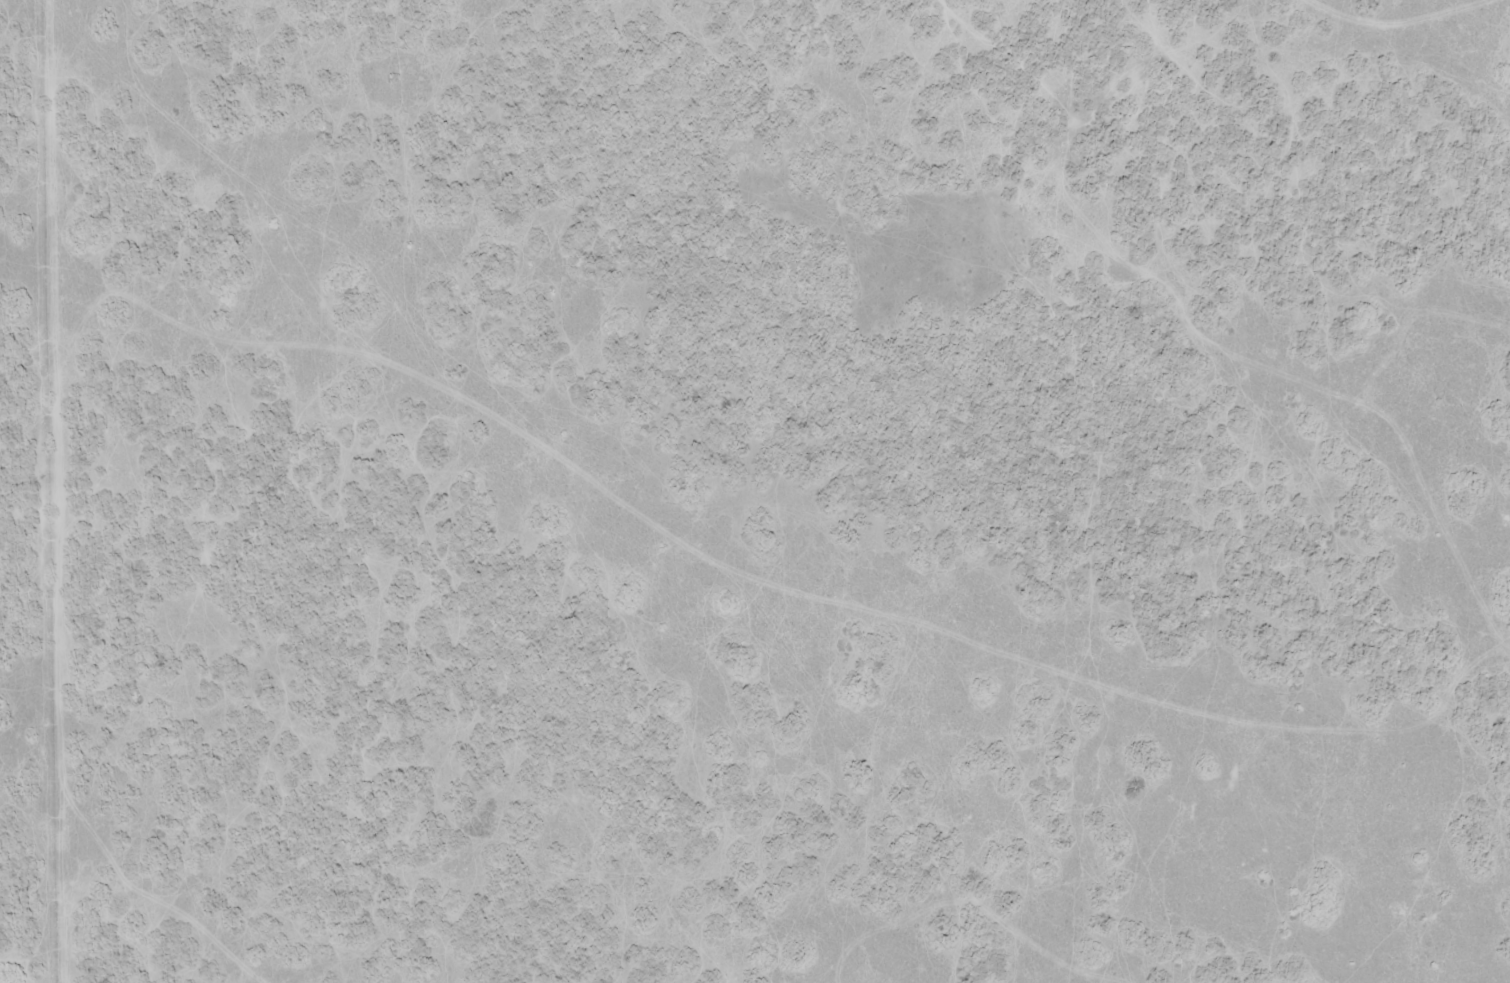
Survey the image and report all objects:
road: (646, 526)

